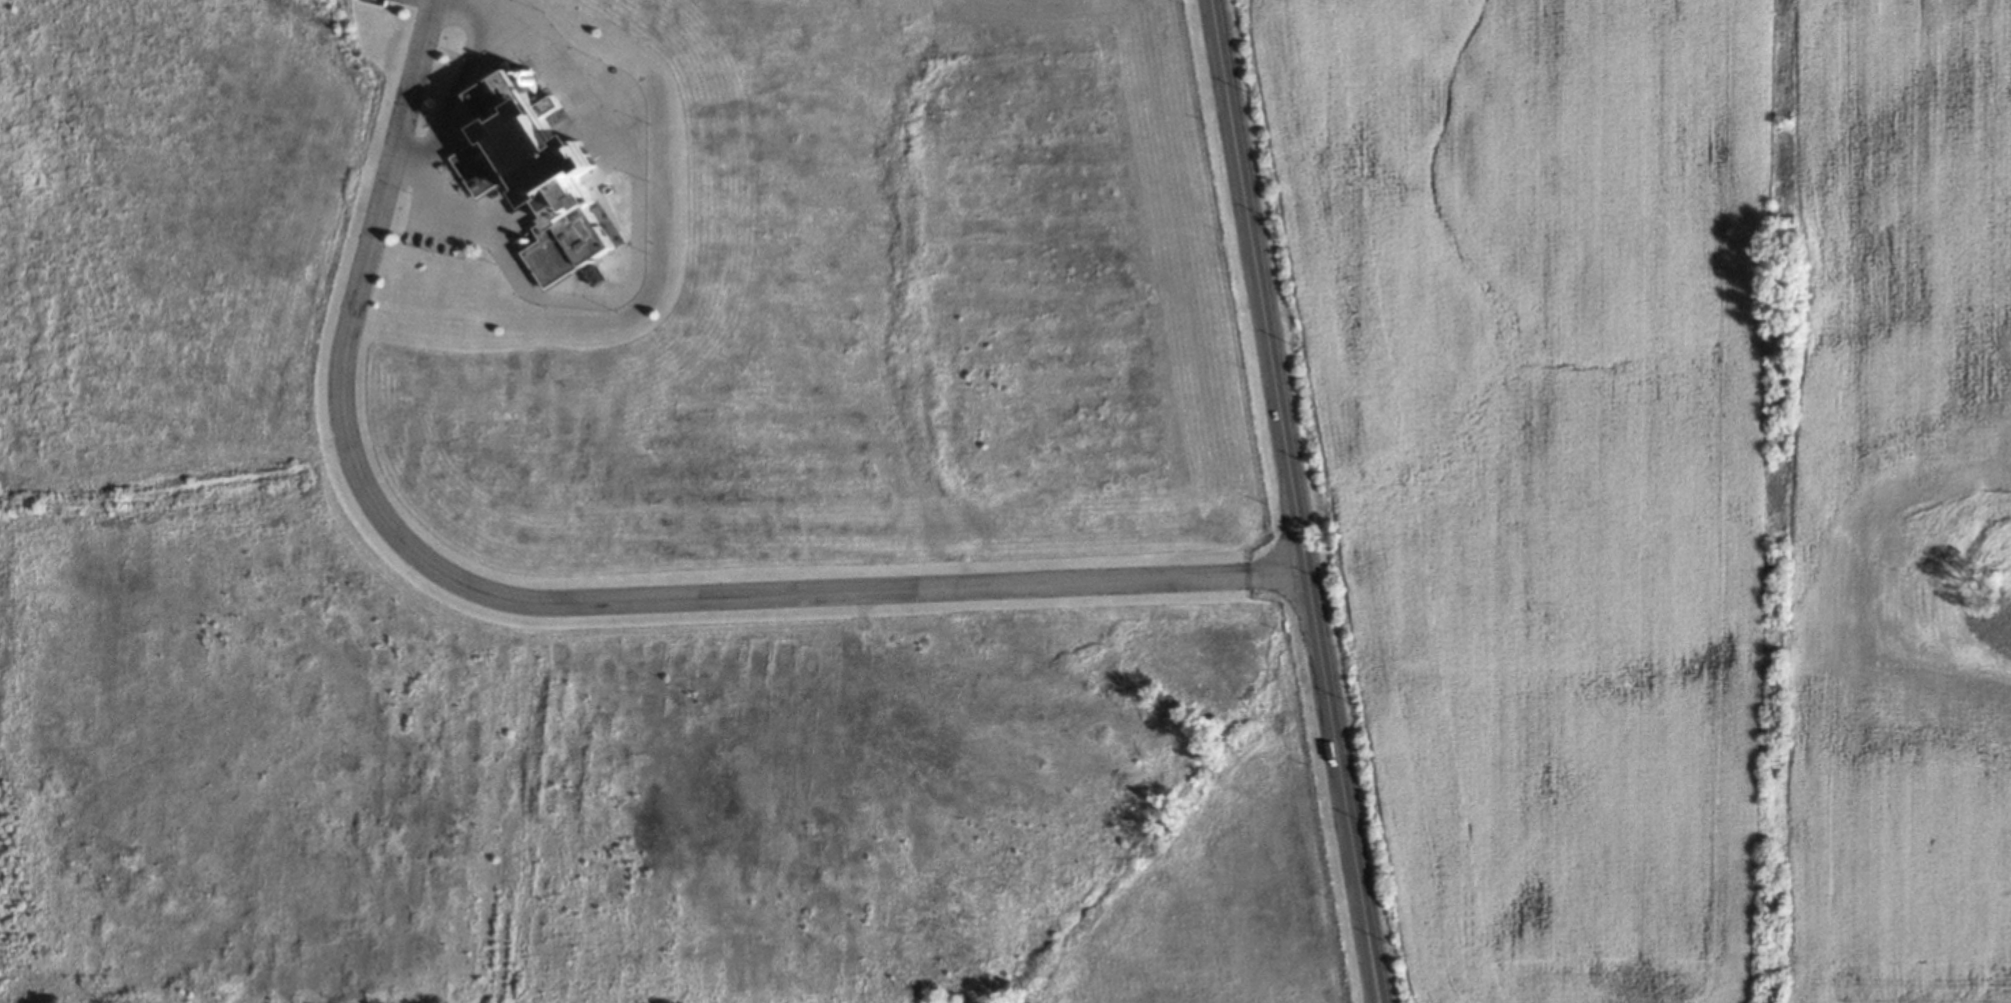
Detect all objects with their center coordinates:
building: (381, 2)
building: (556, 162)
building: (488, 165)
building: (551, 252)
road: (1295, 501)
road: (559, 601)

